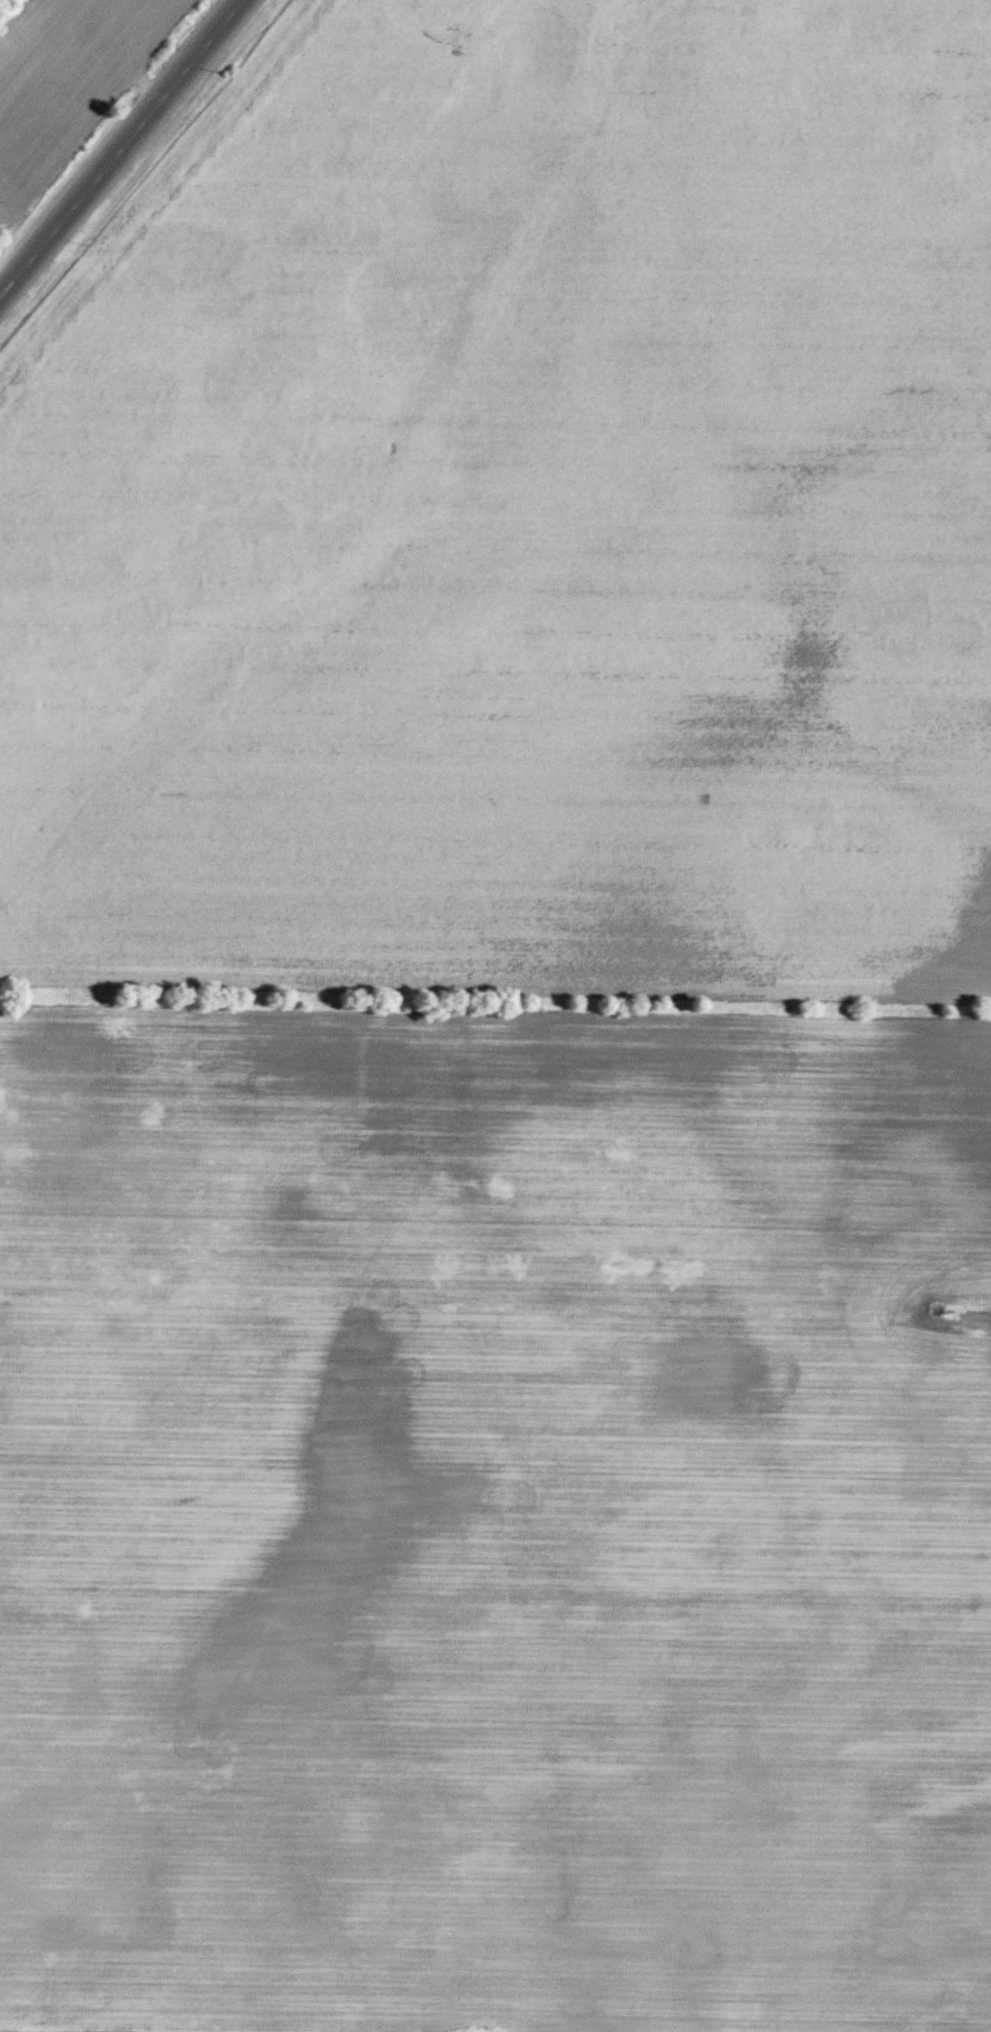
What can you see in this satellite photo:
road: (121, 147)
road: (210, 2022)

